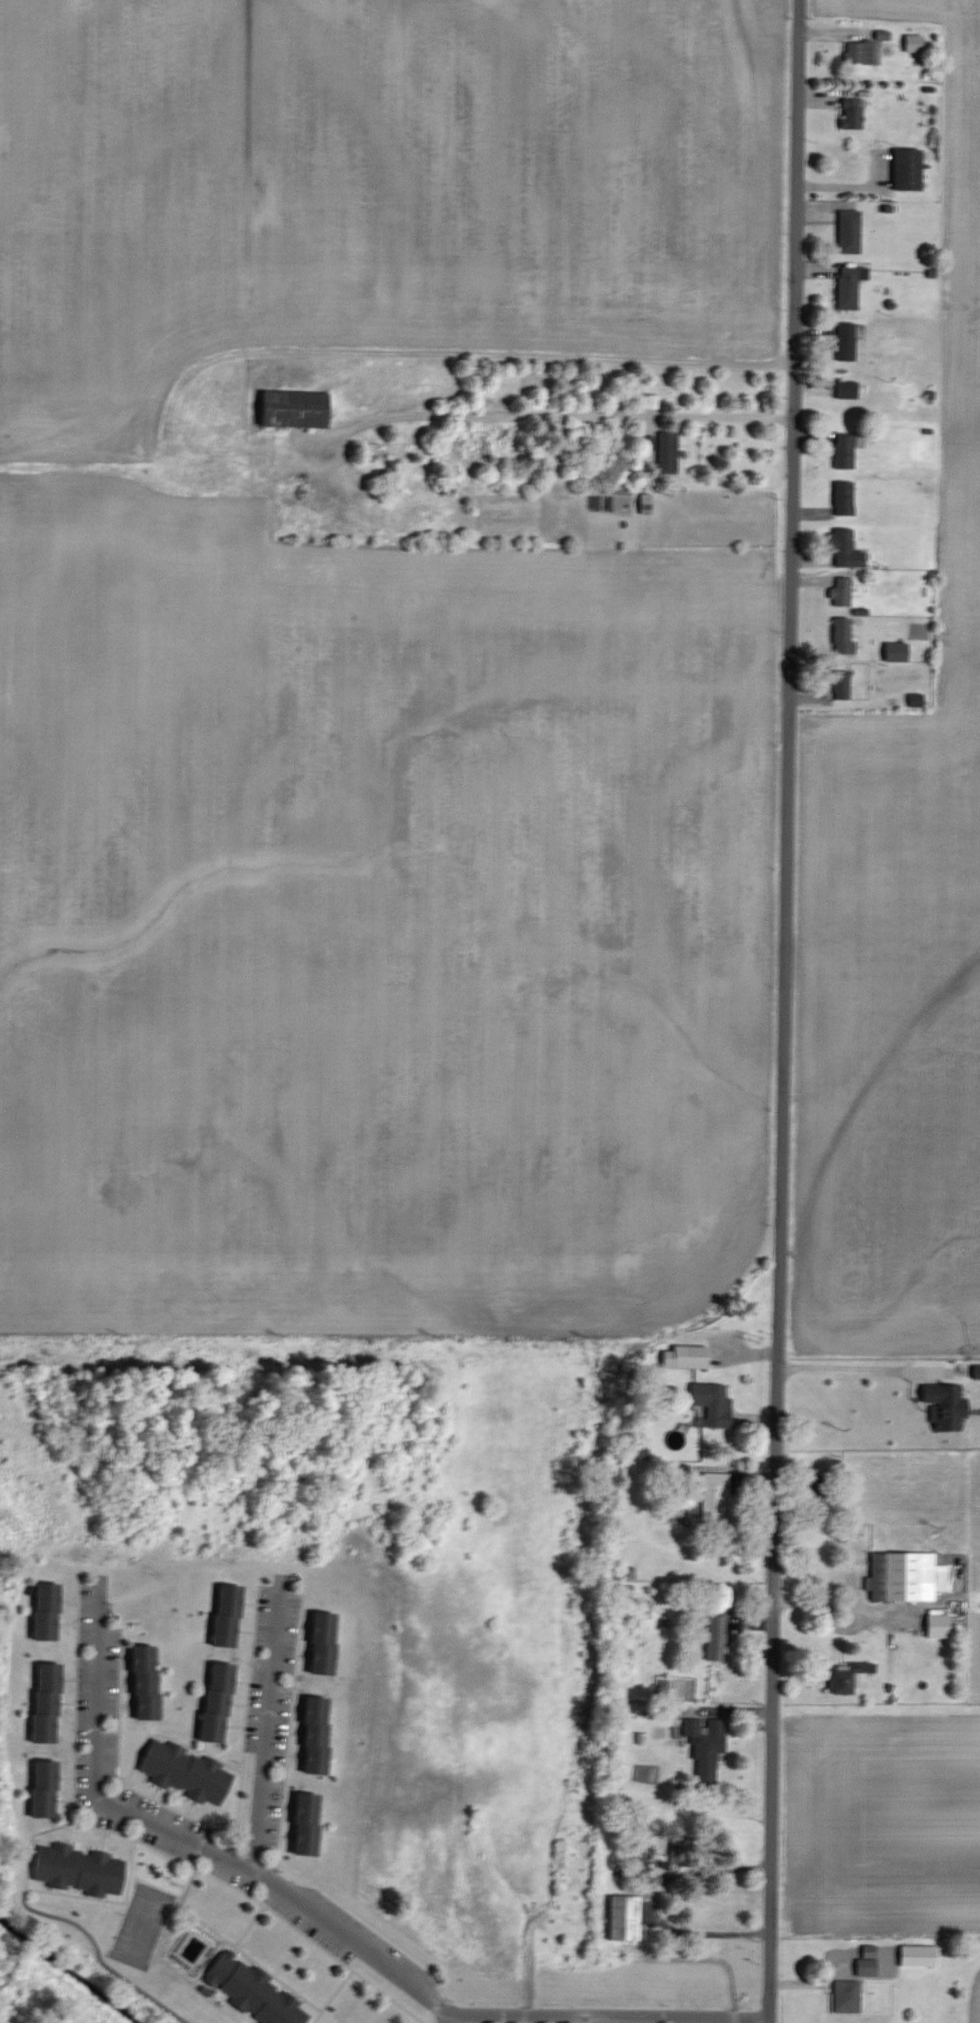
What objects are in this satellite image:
building: (911, 43)
building: (857, 52)
building: (850, 114)
building: (905, 170)
building: (846, 232)
building: (847, 286)
building: (843, 342)
building: (844, 389)
building: (649, 400)
building: (289, 408)
road: (570, 413)
building: (666, 451)
building: (842, 451)
building: (841, 497)
building: (643, 503)
building: (843, 549)
building: (839, 592)
building: (840, 636)
building: (893, 651)
building: (839, 684)
building: (913, 700)
road: (783, 1011)
building: (683, 1357)
road: (861, 1370)
building: (975, 1372)
building: (710, 1403)
building: (942, 1406)
building: (711, 1493)
building: (626, 1573)
building: (904, 1577)
building: (44, 1610)
building: (224, 1616)
road: (838, 1617)
building: (935, 1626)
building: (714, 1638)
building: (323, 1644)
building: (142, 1684)
road: (96, 1689)
building: (212, 1699)
building: (45, 1702)
road: (267, 1729)
building: (315, 1732)
building: (703, 1746)
building: (183, 1770)
building: (41, 1789)
parking lot: (115, 1801)
building: (305, 1823)
building: (77, 1865)
road: (656, 1903)
building: (621, 1917)
building: (915, 1955)
building: (864, 1961)
road: (409, 1984)
building: (252, 1990)
building: (844, 1996)
road: (444, 2017)
parking lot: (645, 2018)

